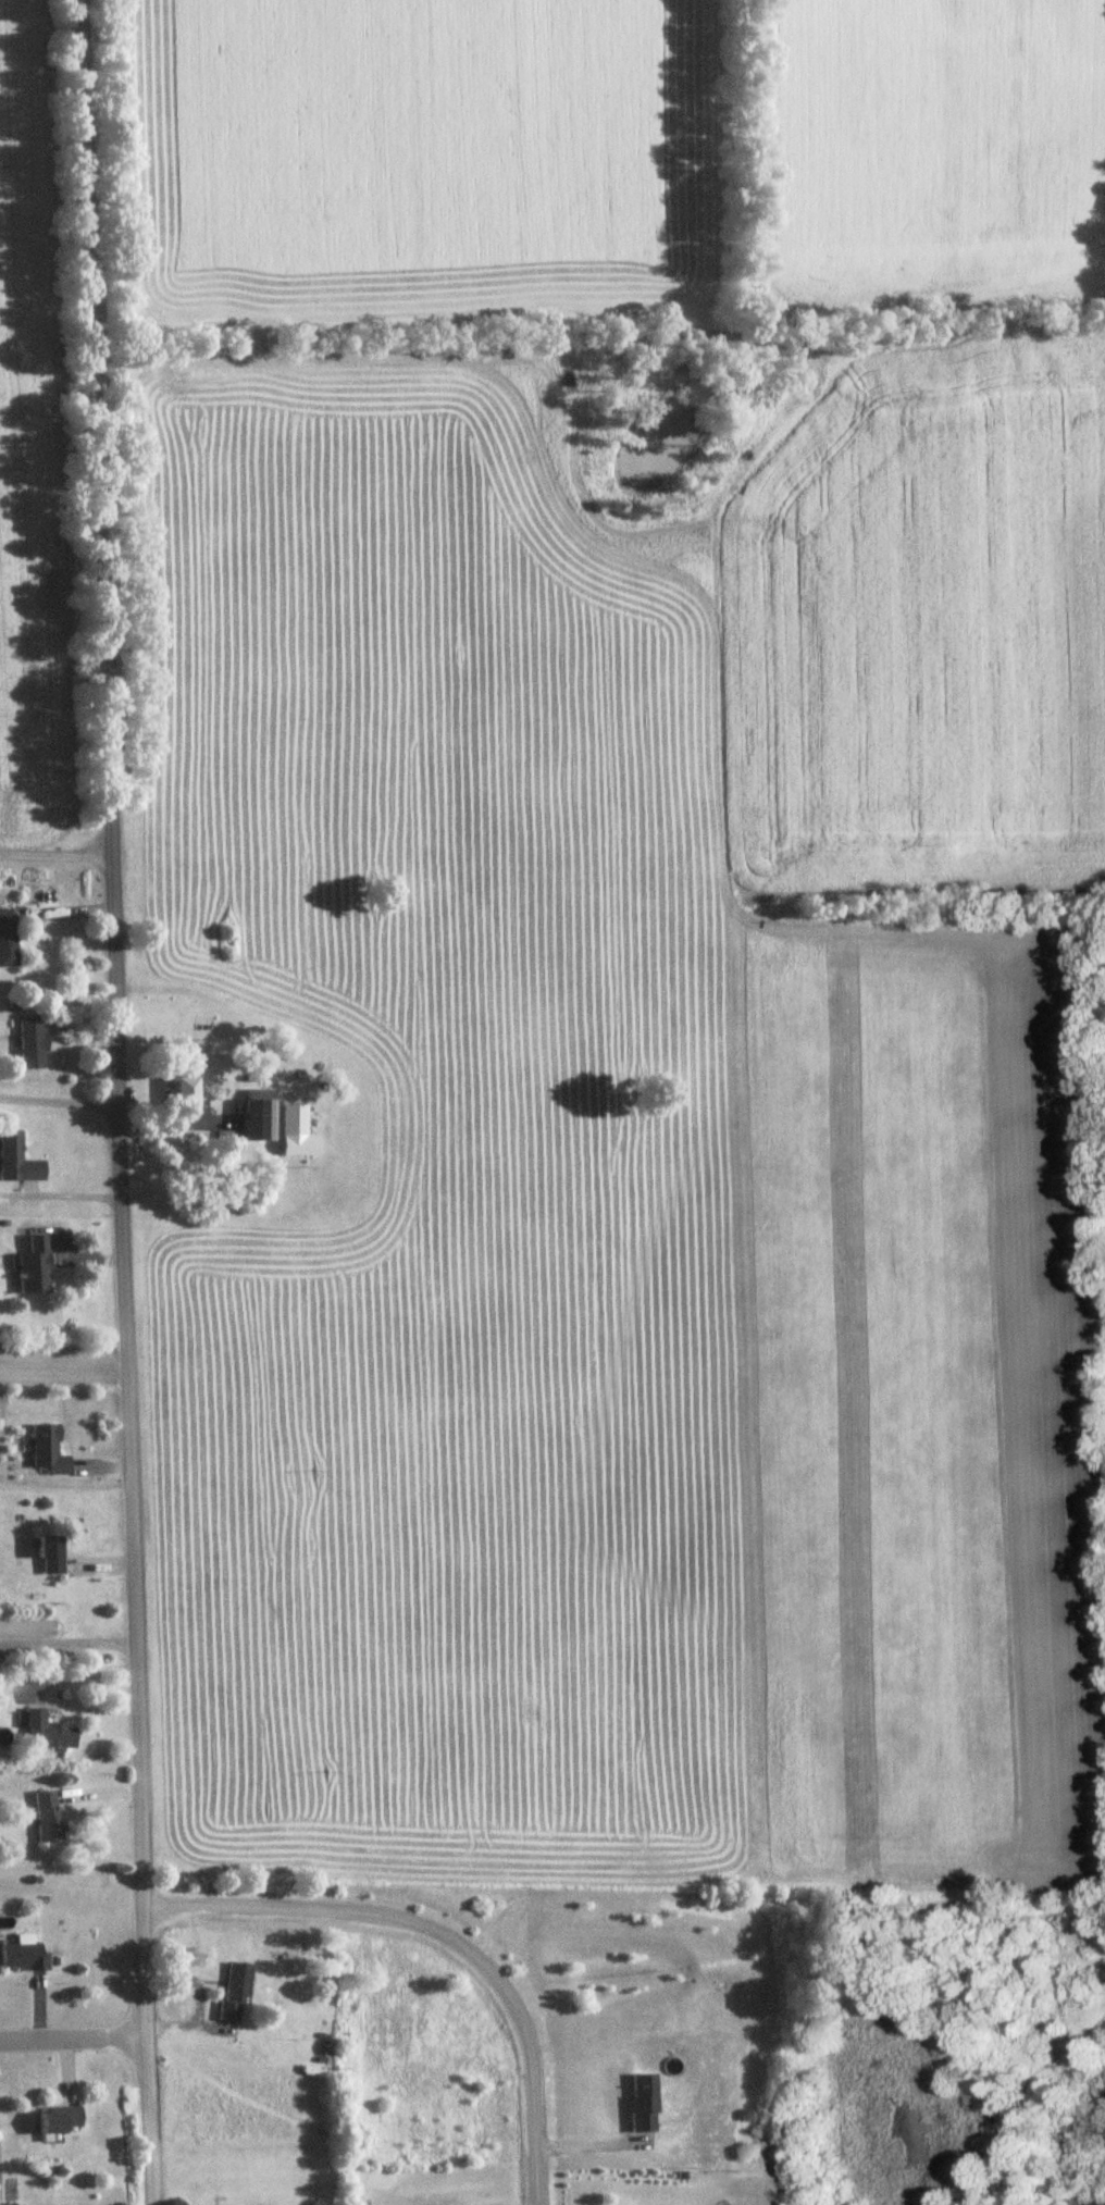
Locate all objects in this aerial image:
road: (51, 850)
building: (8, 940)
building: (32, 1044)
building: (186, 1086)
road: (55, 1099)
road: (111, 1102)
building: (260, 1115)
building: (295, 1120)
building: (17, 1161)
road: (57, 1193)
building: (36, 1267)
building: (49, 1451)
building: (51, 1556)
road: (65, 1643)
building: (48, 1732)
building: (49, 1817)
road: (439, 1935)
building: (23, 1959)
building: (236, 1992)
road: (198, 1997)
road: (71, 2041)
building: (58, 2121)

